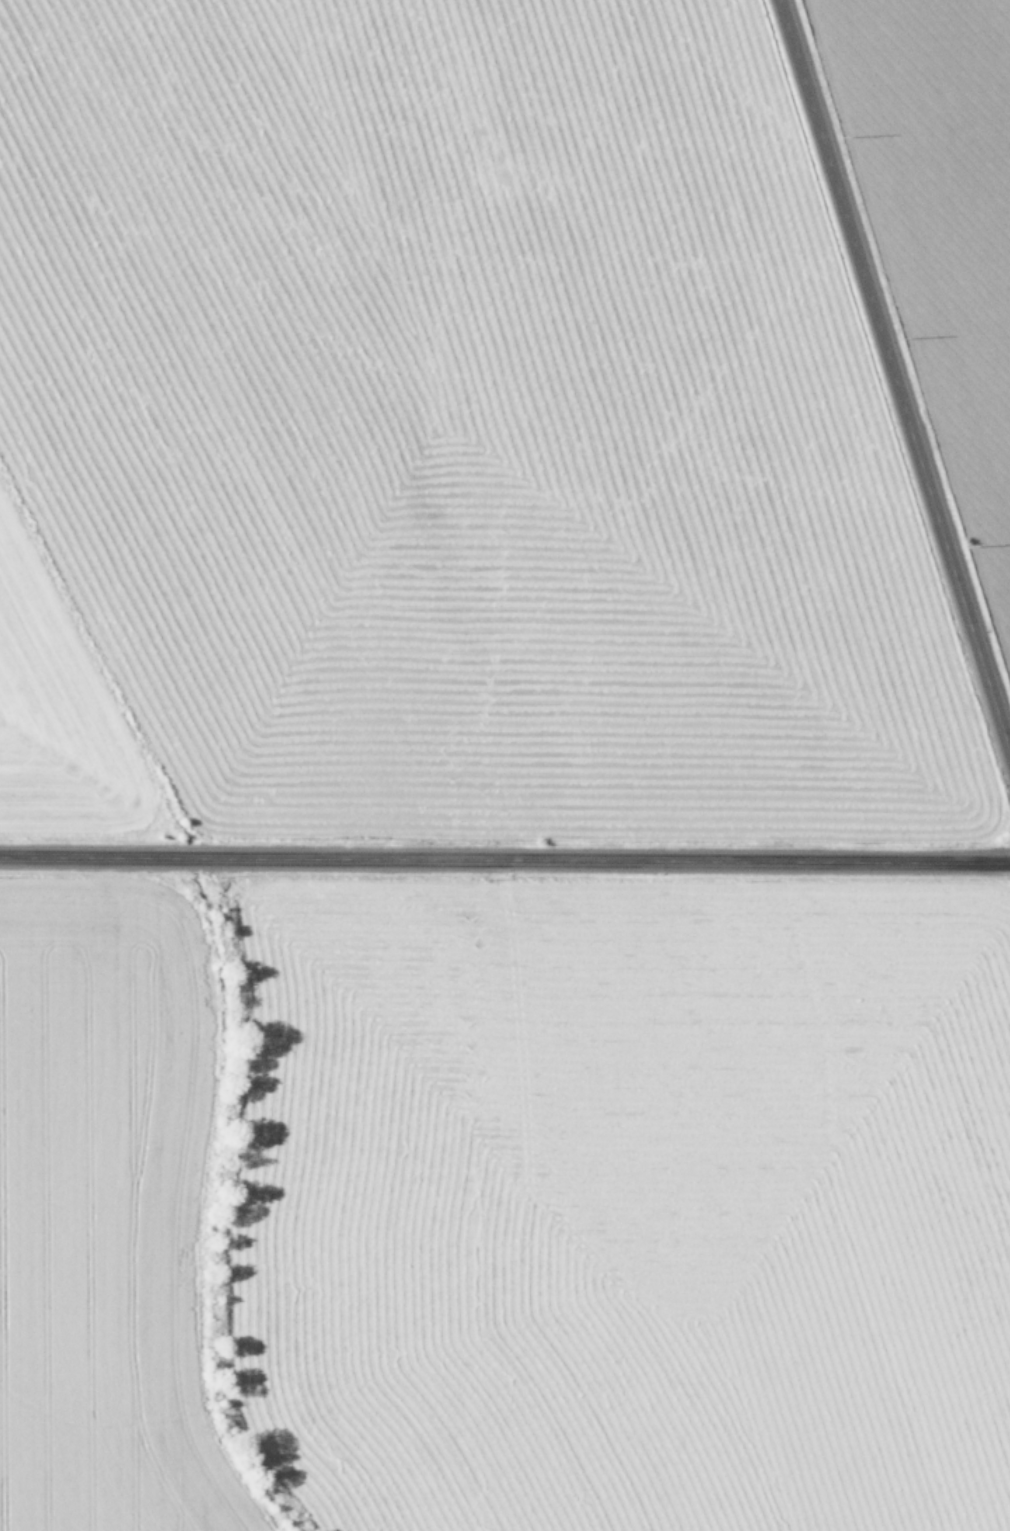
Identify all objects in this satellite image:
crop: (947, 200)
road: (892, 381)
crop: (427, 428)
road: (505, 865)
crop: (502, 1234)

